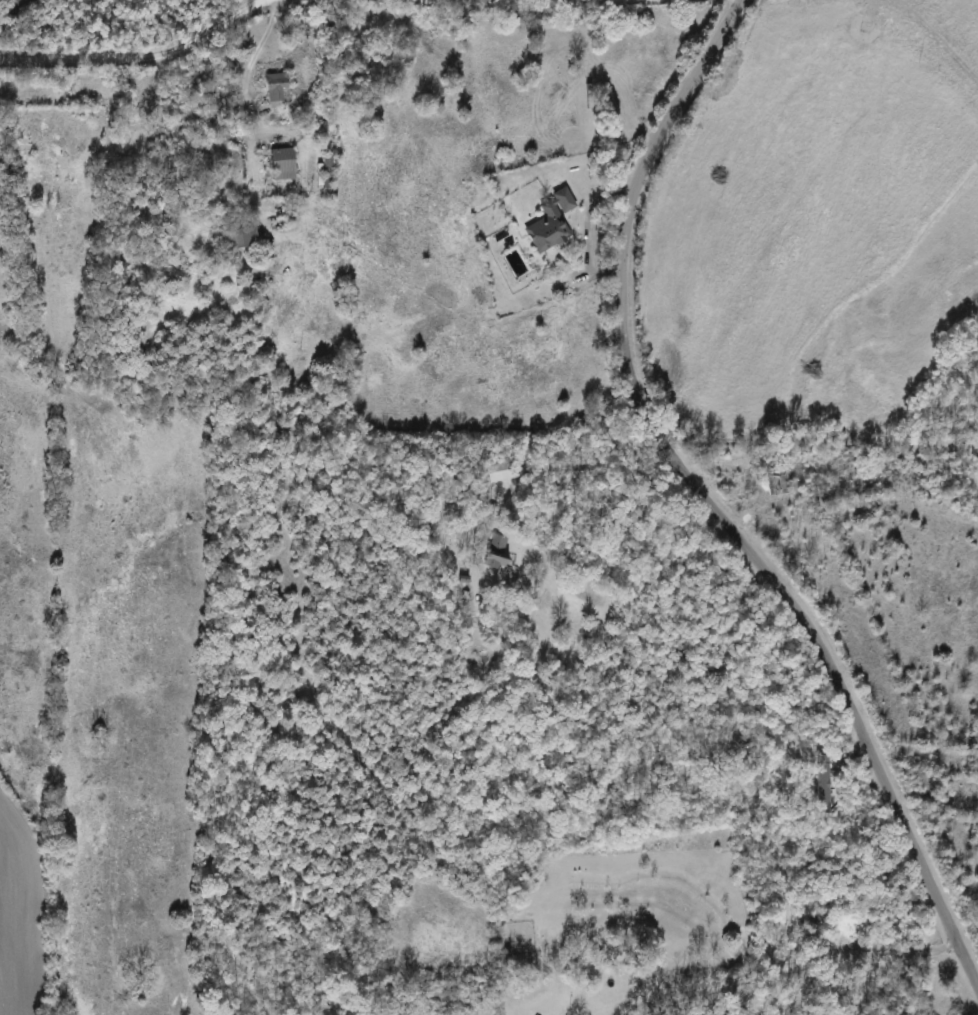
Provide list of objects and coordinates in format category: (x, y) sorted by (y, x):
road: (138, 57)
road: (247, 72)
building: (280, 87)
building: (286, 165)
building: (553, 222)
road: (587, 228)
building: (244, 238)
road: (709, 505)
road: (782, 969)

